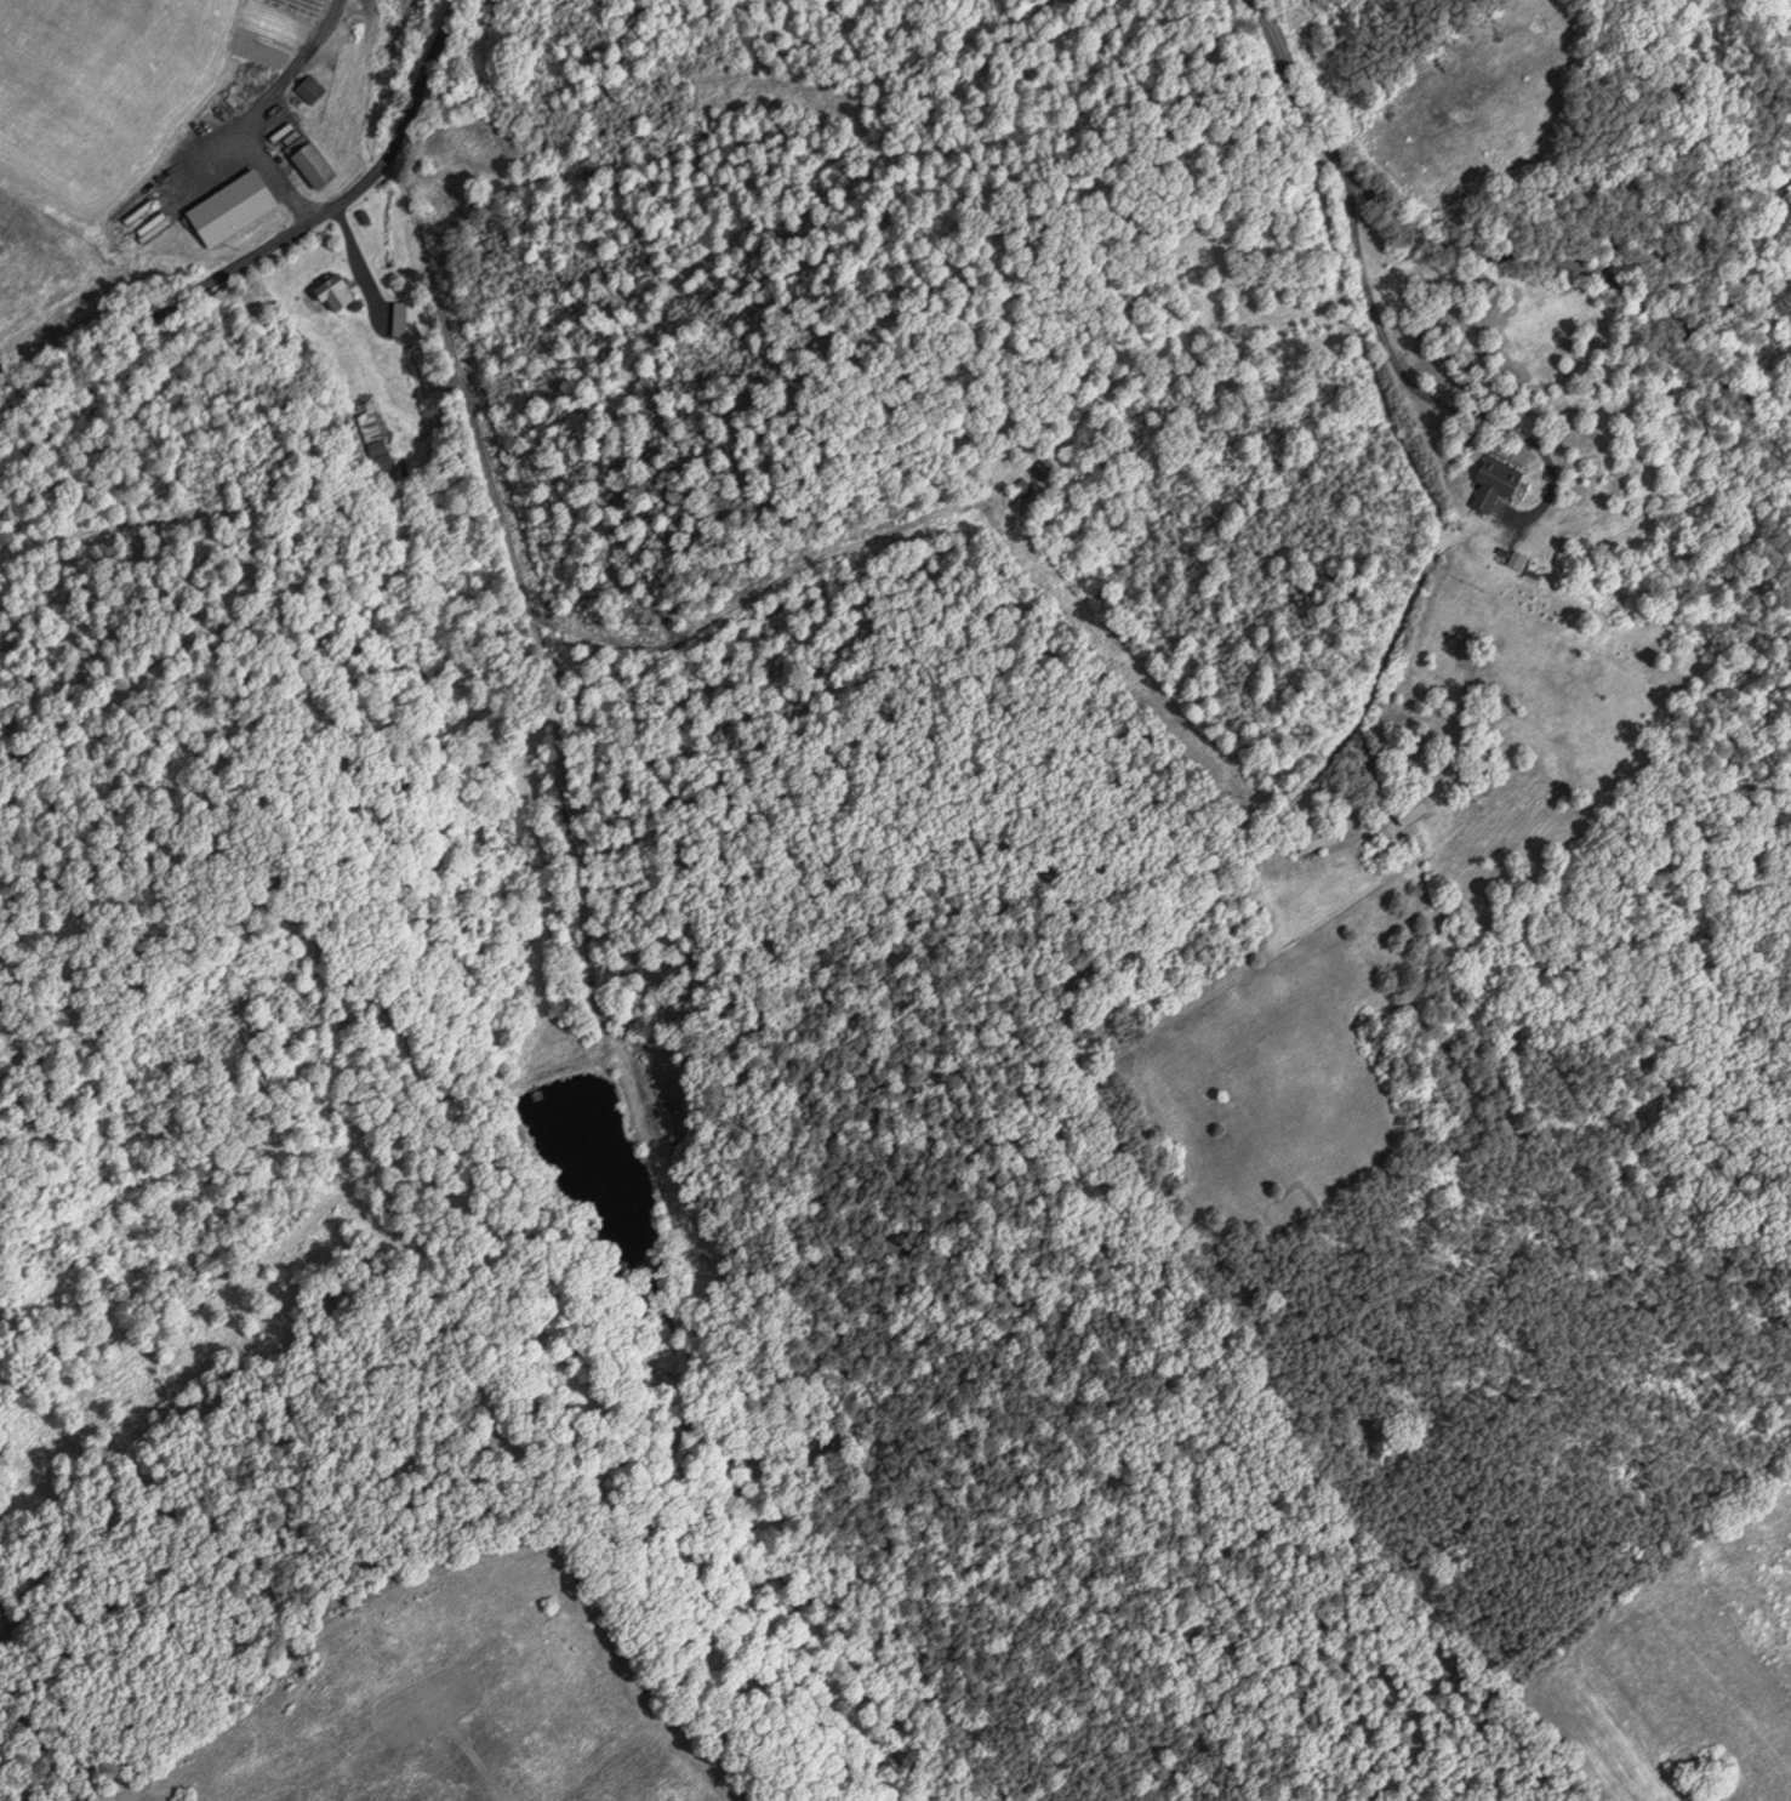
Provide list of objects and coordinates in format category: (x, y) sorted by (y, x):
building: (308, 87)
road: (257, 106)
building: (329, 108)
building: (308, 160)
building: (229, 206)
road: (267, 240)
road: (1485, 249)
building: (332, 291)
building: (404, 317)
road: (1421, 393)
building: (1039, 466)
building: (1493, 480)
building: (1021, 486)
building: (1408, 808)
building: (1316, 837)

